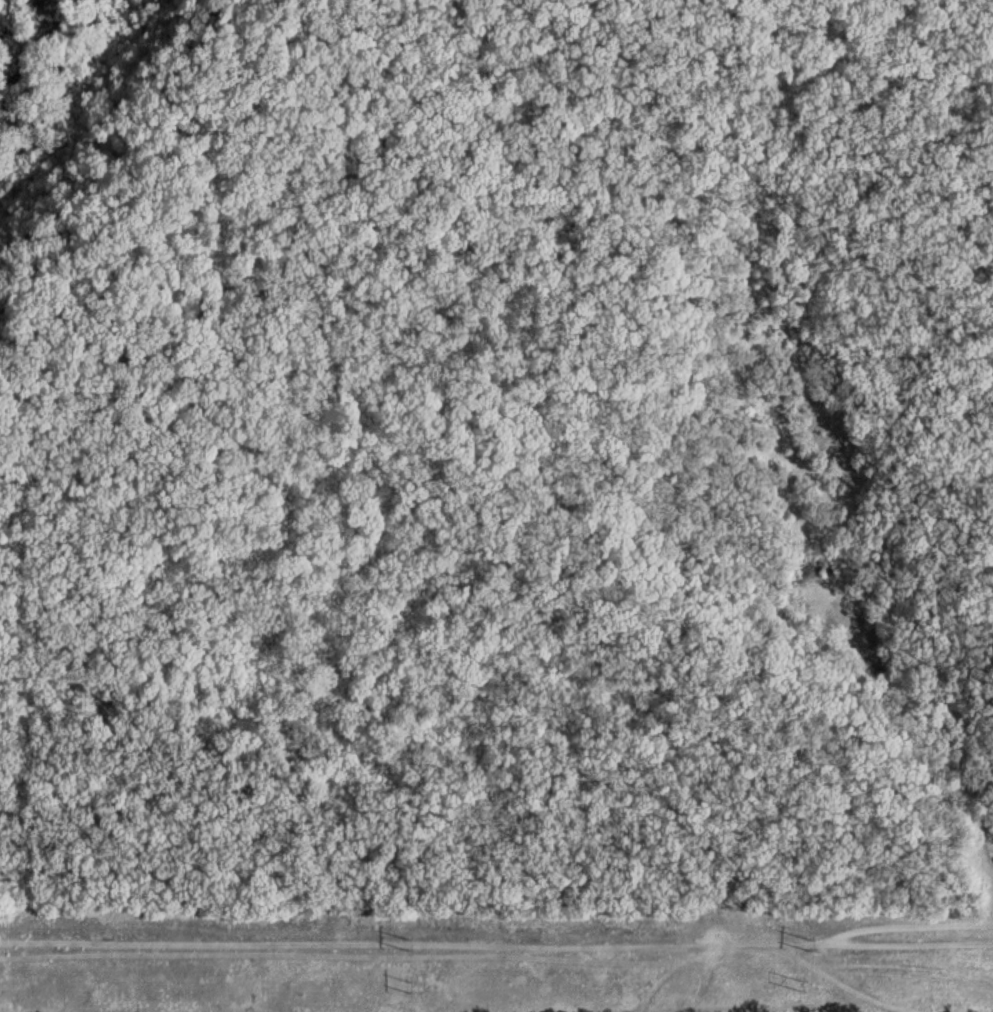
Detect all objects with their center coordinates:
power tower: (407, 942)
power tower: (809, 943)
power tower: (407, 986)
power tower: (0, 987)
power tower: (805, 987)

